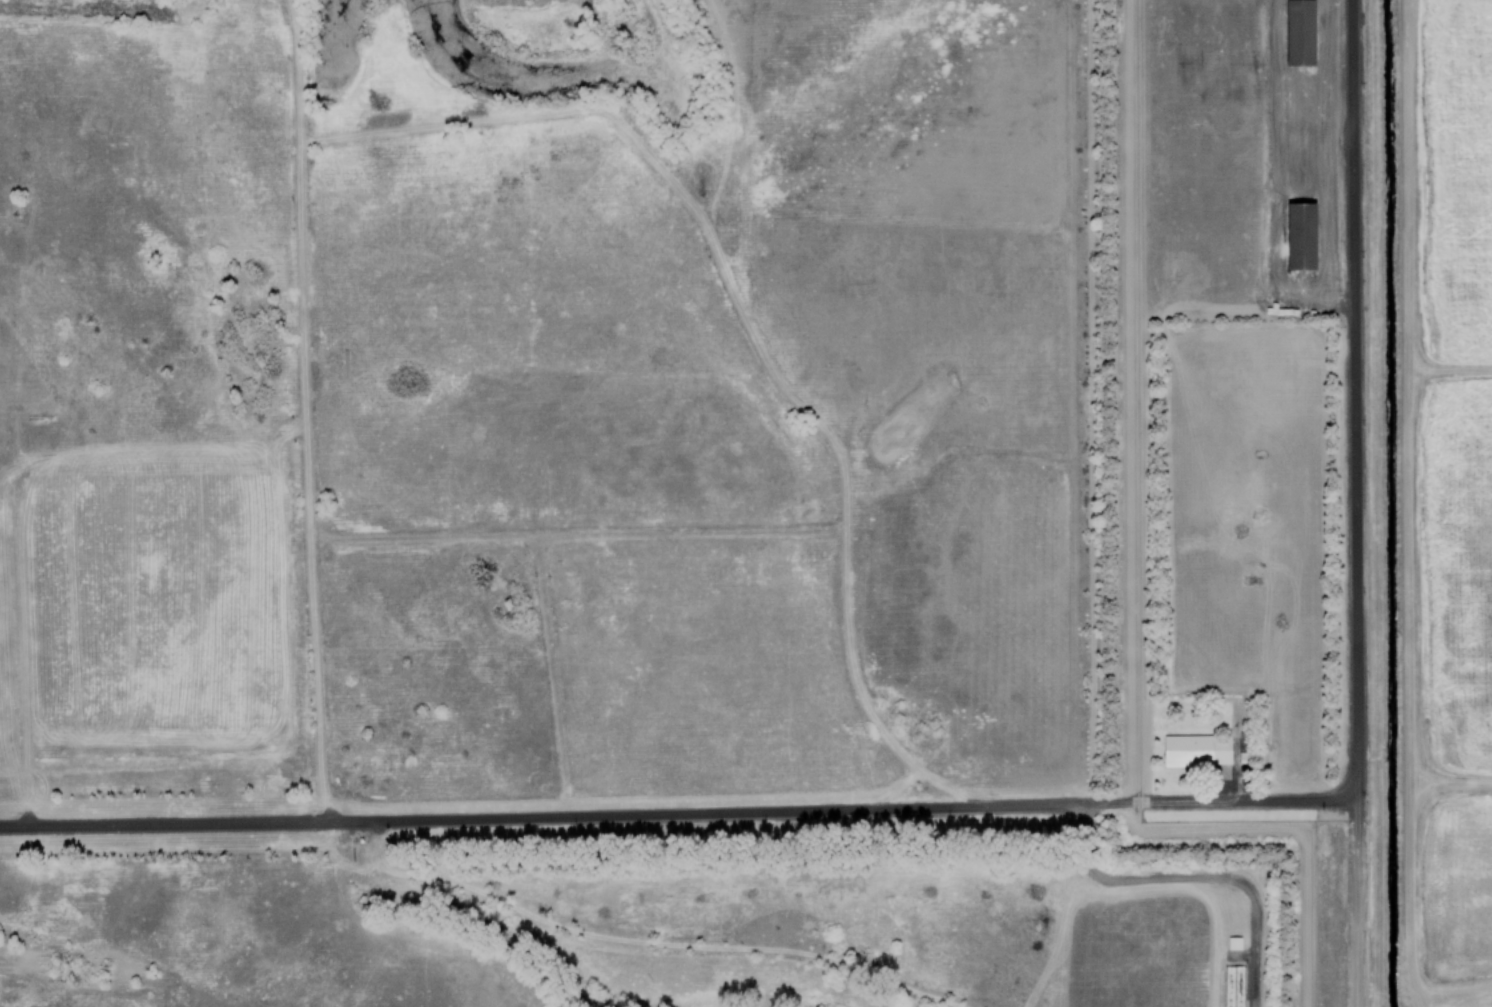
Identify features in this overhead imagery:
building: (1304, 33)
building: (1305, 237)

